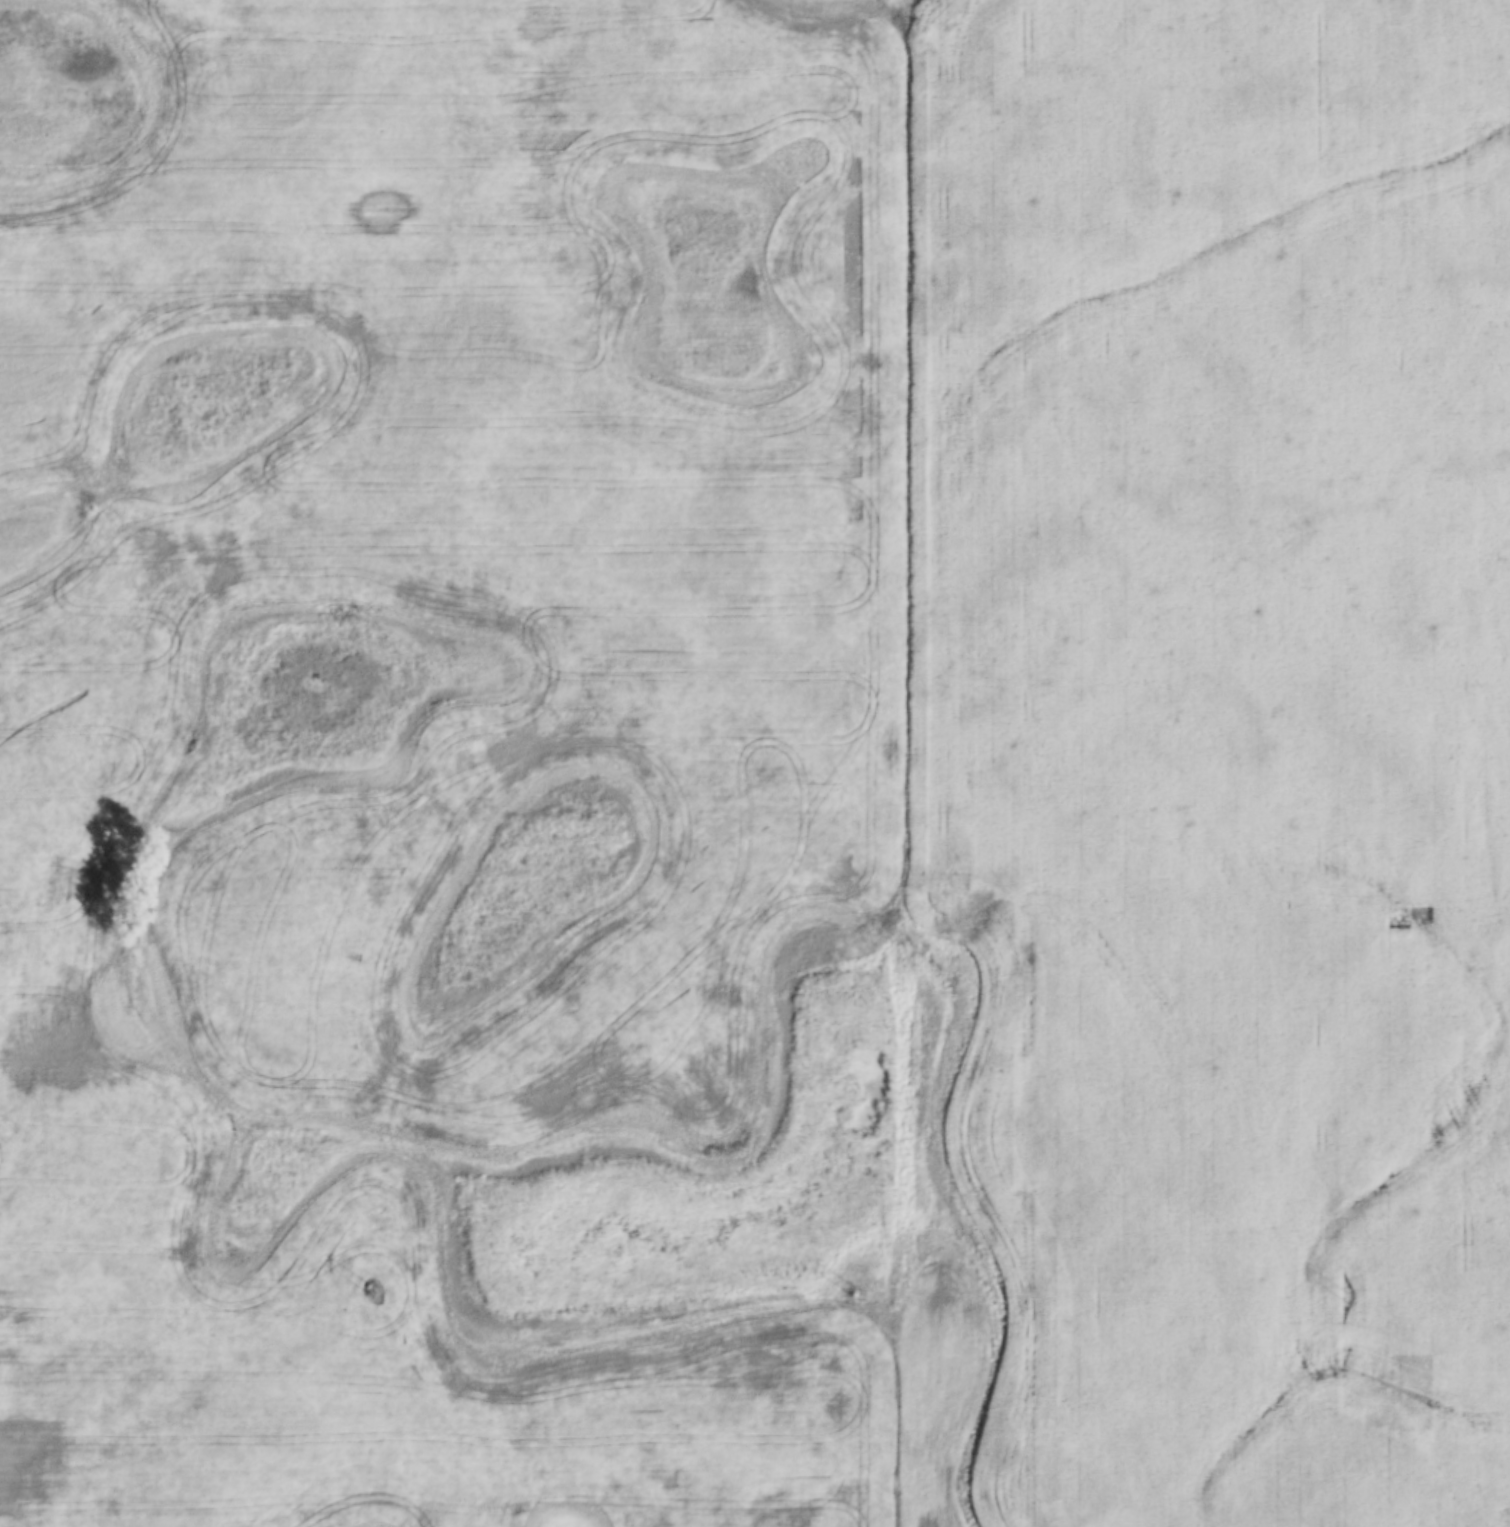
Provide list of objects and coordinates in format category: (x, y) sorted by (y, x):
power tower: (369, 1292)
power tower: (855, 1295)
power tower: (1343, 1296)

